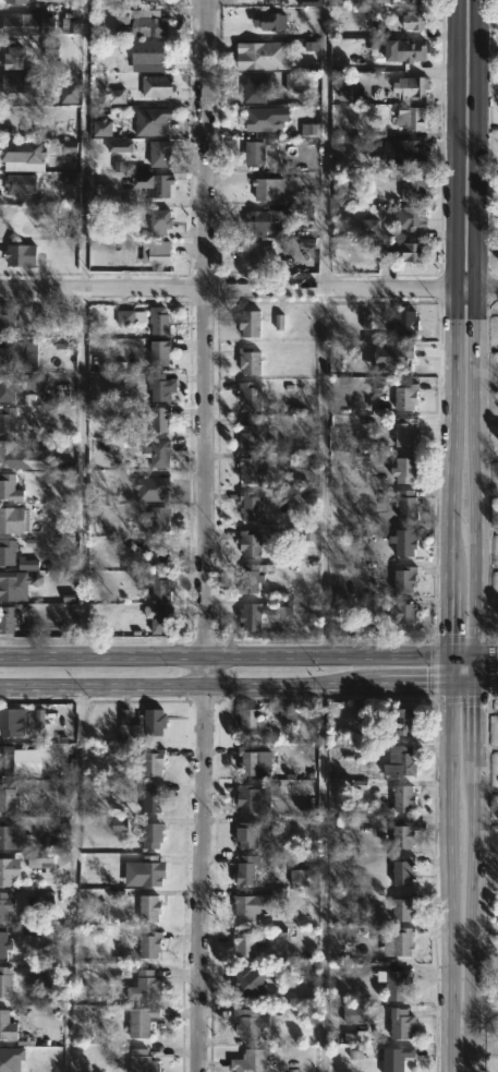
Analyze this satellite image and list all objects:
building: (409, 0)
building: (371, 1)
building: (17, 2)
building: (156, 2)
building: (410, 20)
building: (138, 22)
building: (270, 23)
building: (27, 24)
building: (408, 50)
building: (253, 53)
building: (146, 55)
building: (16, 58)
building: (24, 83)
building: (159, 86)
building: (410, 86)
building: (253, 89)
building: (409, 117)
building: (154, 121)
road: (84, 144)
road: (325, 144)
building: (252, 152)
building: (163, 153)
building: (22, 155)
building: (413, 155)
building: (25, 185)
building: (159, 185)
building: (266, 189)
building: (413, 189)
building: (406, 217)
building: (257, 221)
building: (163, 222)
building: (255, 252)
building: (410, 253)
building: (24, 255)
building: (161, 255)
road: (248, 288)
building: (126, 320)
building: (10, 321)
building: (162, 321)
building: (246, 323)
building: (404, 323)
road: (451, 327)
road: (474, 341)
building: (162, 351)
building: (12, 354)
building: (246, 361)
building: (159, 386)
building: (8, 388)
building: (248, 396)
building: (402, 396)
building: (158, 418)
building: (10, 421)
building: (247, 432)
building: (403, 433)
building: (8, 453)
building: (160, 453)
building: (248, 470)
building: (401, 470)
road: (84, 471)
road: (323, 471)
building: (11, 489)
building: (406, 503)
building: (248, 506)
building: (163, 519)
building: (13, 520)
road: (204, 535)
building: (247, 543)
building: (400, 544)
building: (7, 552)
building: (160, 557)
building: (250, 577)
building: (402, 579)
building: (16, 583)
building: (161, 588)
building: (259, 613)
building: (400, 617)
building: (159, 618)
building: (5, 619)
road: (460, 637)
road: (222, 654)
traffic signals: (446, 654)
road: (472, 654)
traffic signals: (475, 654)
road: (434, 667)
road: (489, 667)
road: (189, 683)
road: (426, 683)
traffic signals: (446, 683)
traffic signals: (475, 684)
road: (486, 684)
road: (461, 699)
building: (252, 720)
building: (10, 722)
building: (400, 722)
building: (141, 724)
building: (5, 760)
building: (245, 760)
building: (400, 760)
building: (151, 761)
building: (8, 797)
building: (151, 797)
building: (244, 797)
building: (401, 799)
building: (5, 834)
building: (246, 834)
building: (403, 834)
building: (149, 835)
road: (445, 863)
building: (245, 869)
building: (7, 870)
building: (144, 871)
building: (401, 871)
road: (73, 877)
road: (324, 877)
road: (472, 878)
building: (256, 904)
building: (3, 906)
building: (148, 907)
building: (400, 907)
building: (246, 941)
building: (398, 942)
building: (4, 944)
building: (148, 944)
building: (5, 981)
building: (392, 983)
building: (238, 984)
building: (251, 985)
building: (148, 986)
building: (353, 1014)
road: (473, 1020)
building: (141, 1021)
building: (246, 1023)
building: (401, 1024)
building: (7, 1026)
building: (396, 1058)
building: (142, 1060)
building: (250, 1061)

